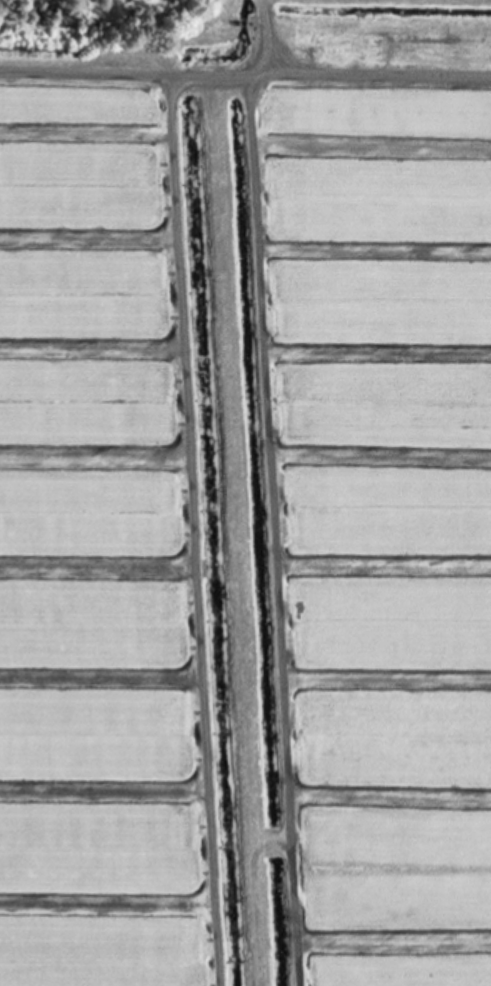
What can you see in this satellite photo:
road: (245, 76)
crop: (249, 505)
road: (192, 531)

